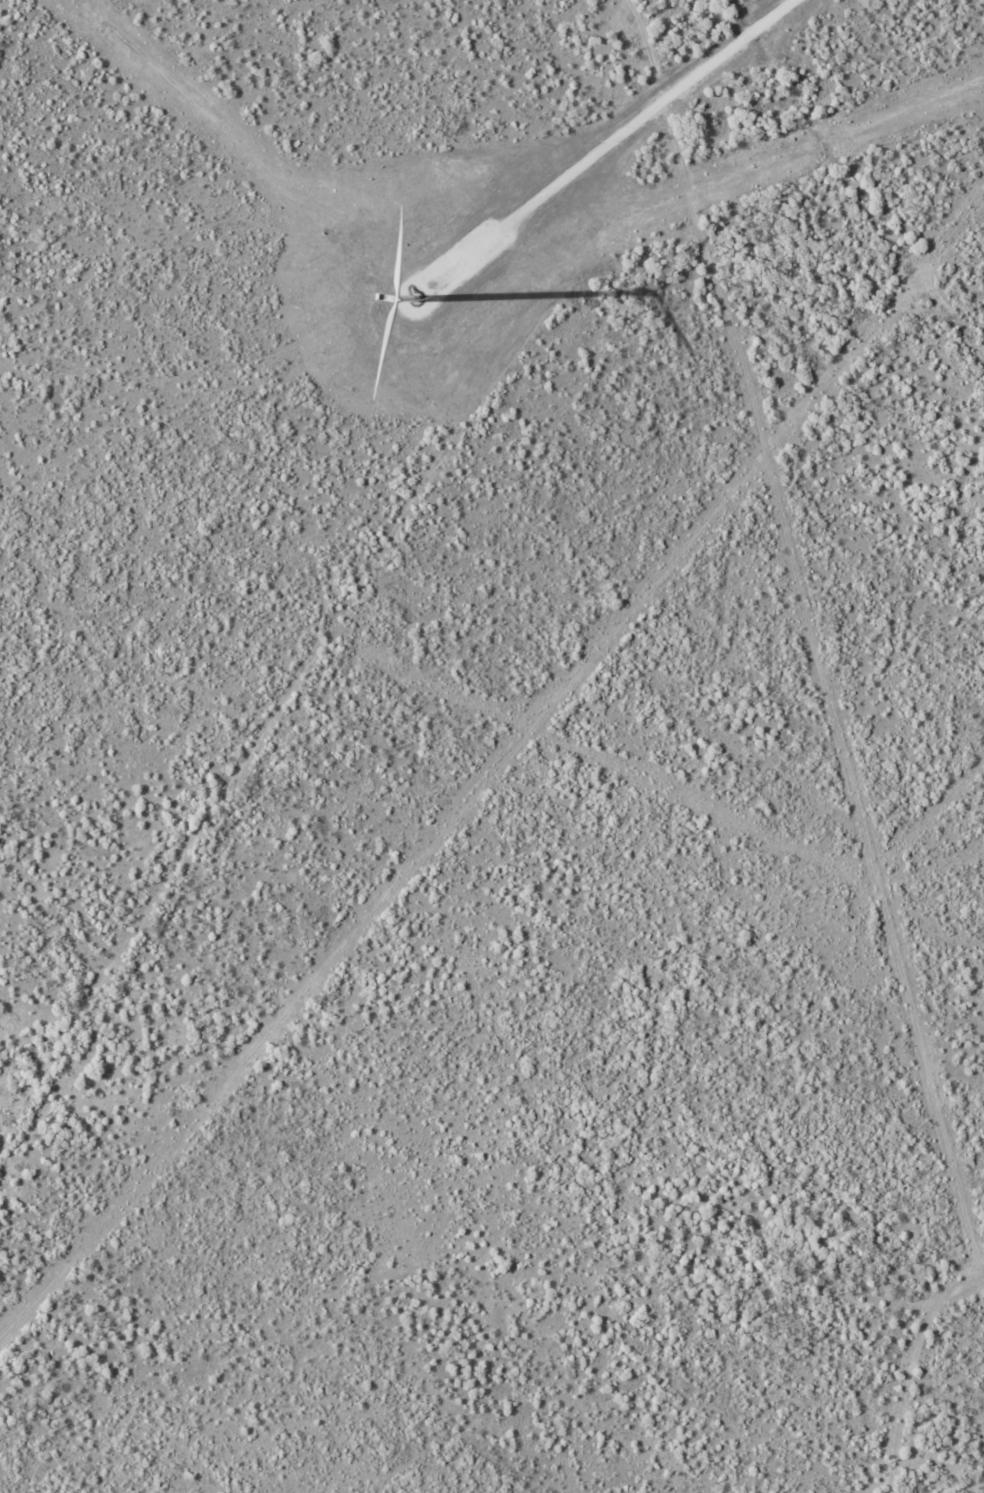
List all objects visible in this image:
wind turbine: (410, 298)

